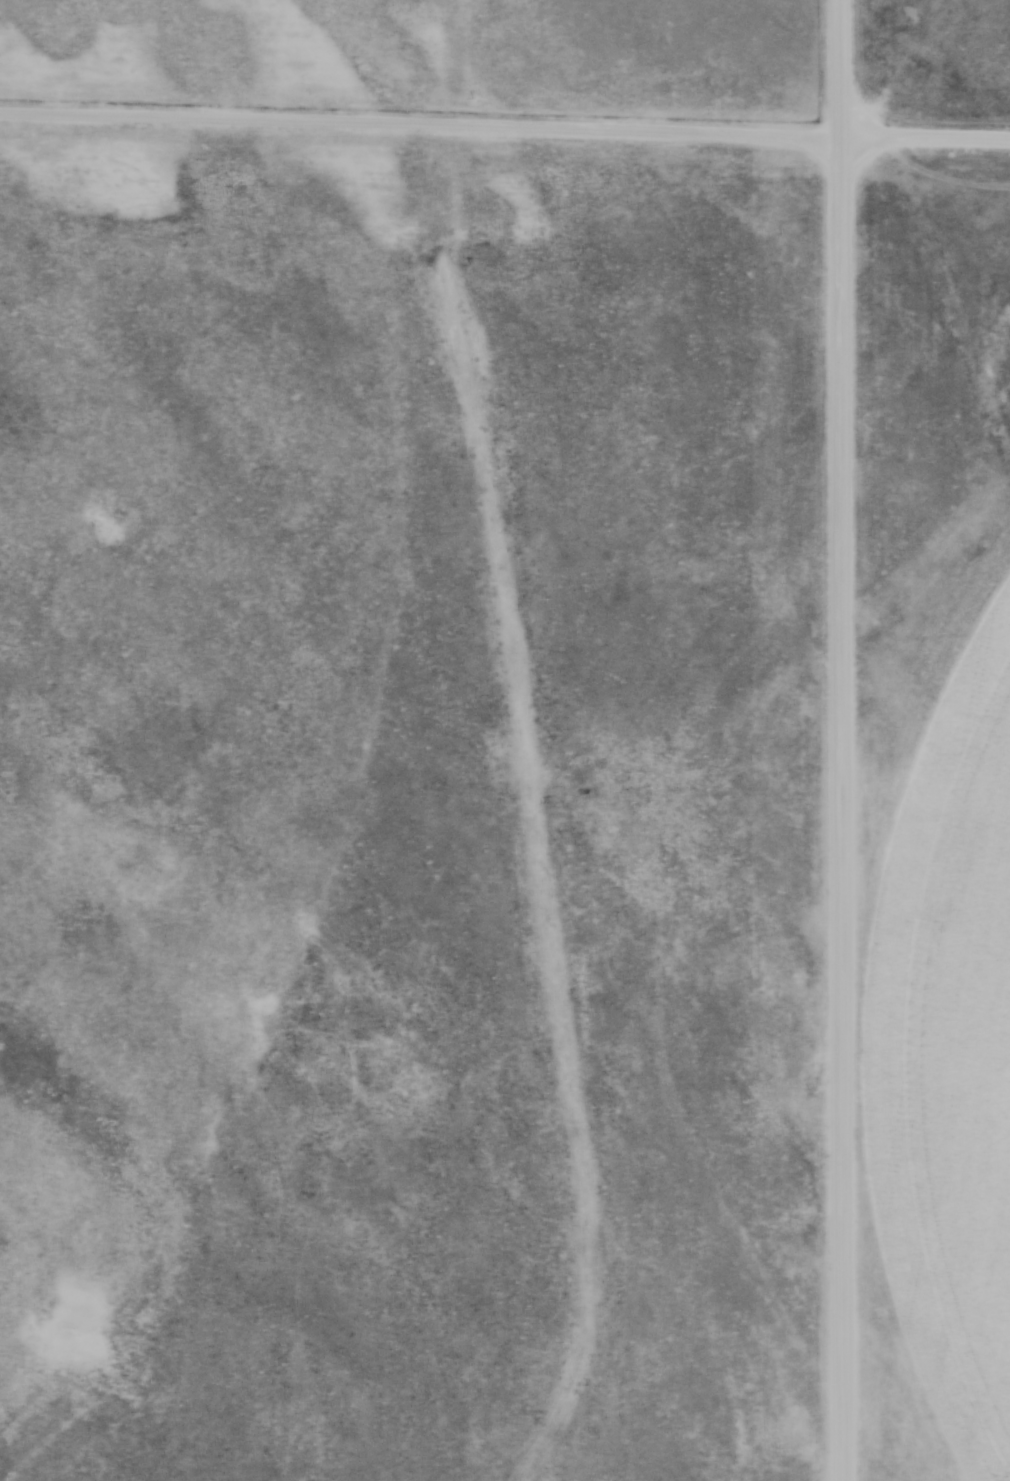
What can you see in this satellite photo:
road: (924, 136)
road: (840, 740)
crop: (949, 1042)

